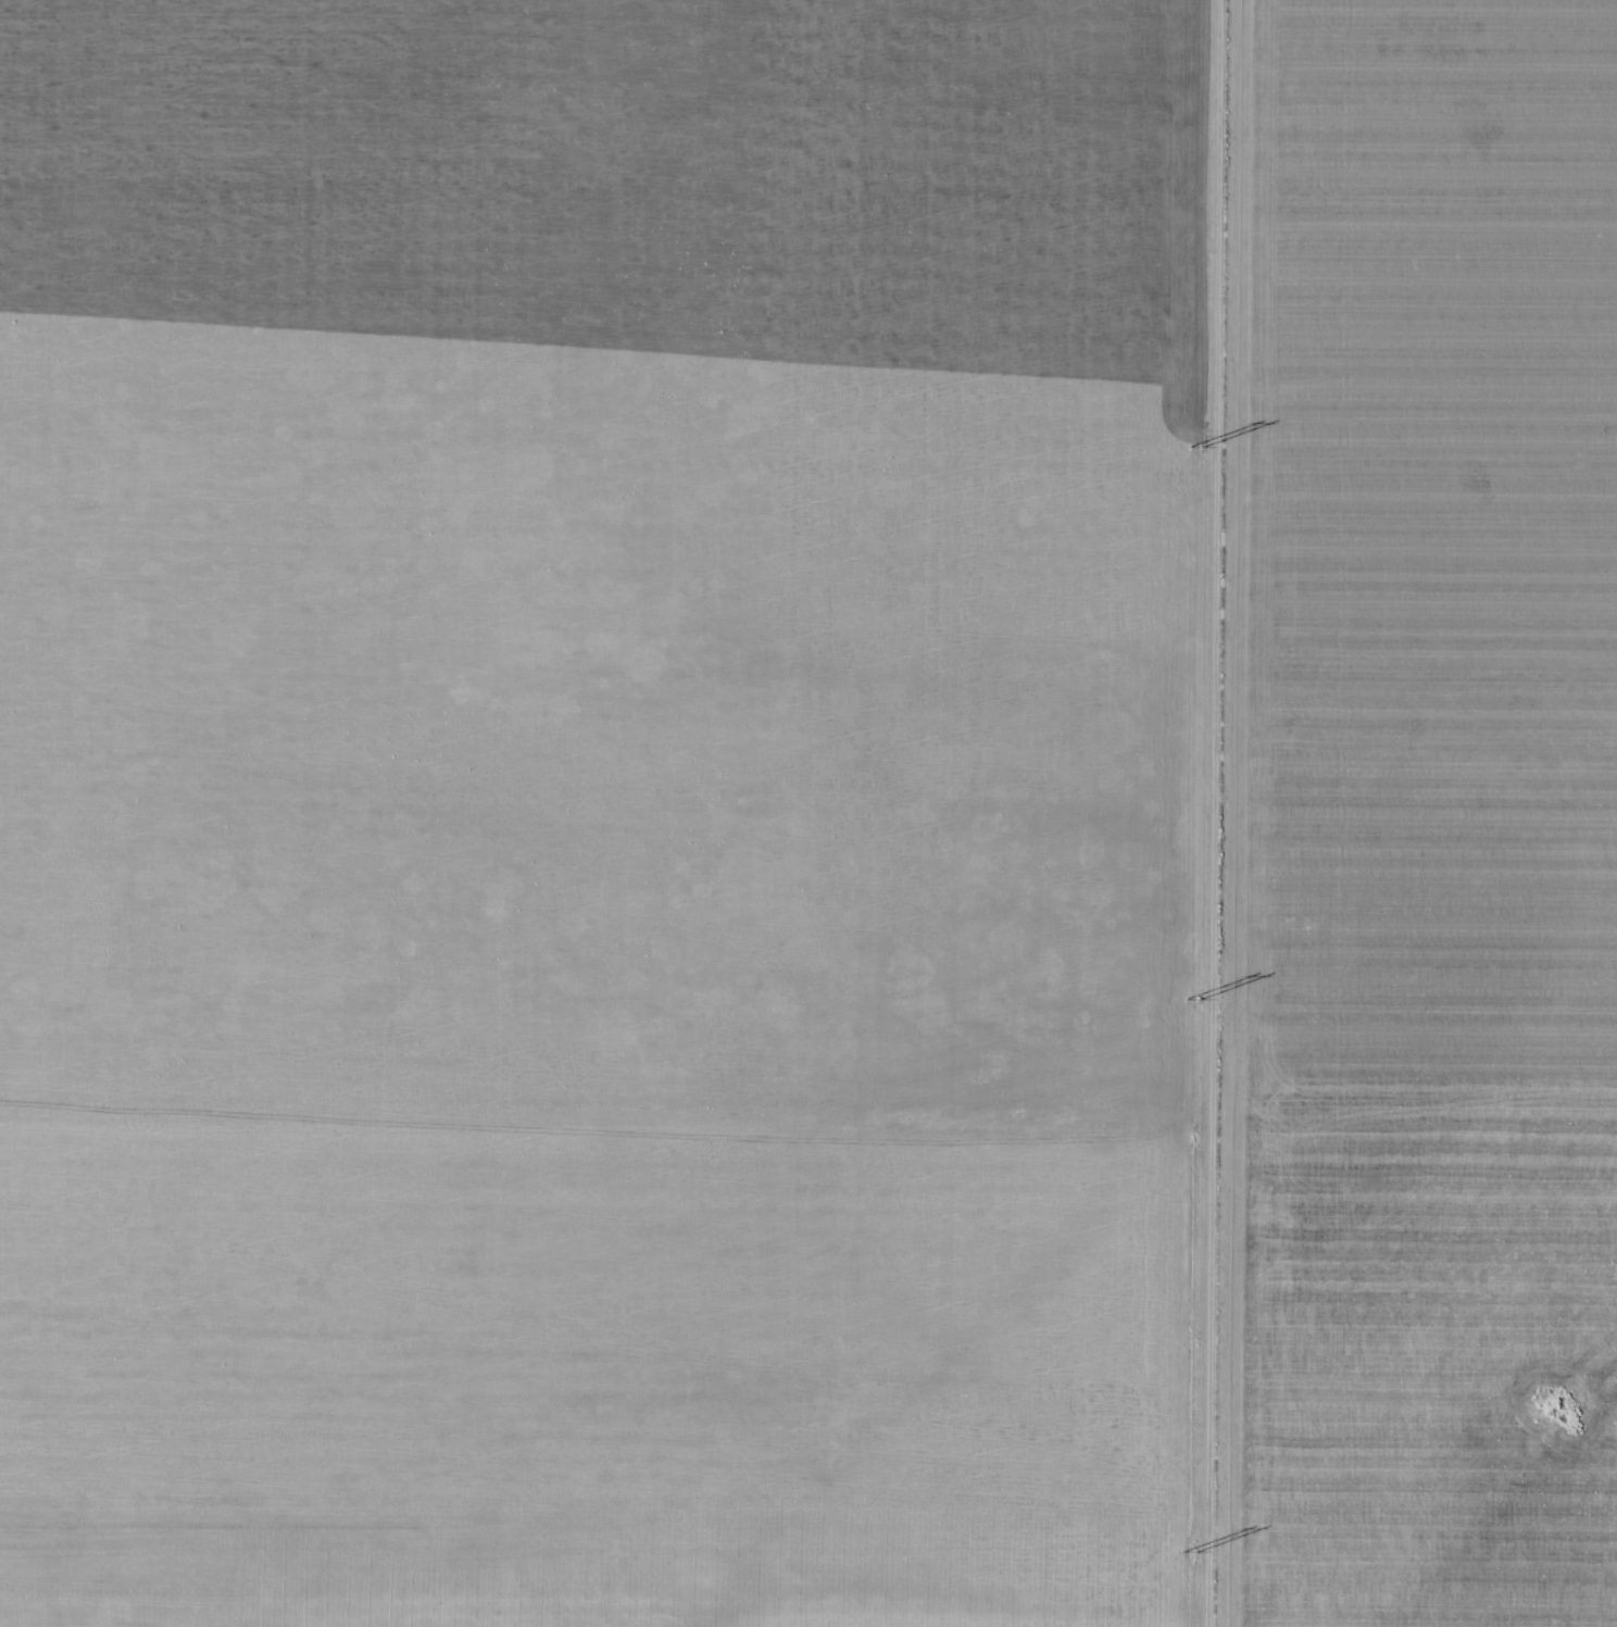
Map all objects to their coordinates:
power tower: (1194, 448)
power tower: (1191, 999)
power tower: (1188, 1551)

